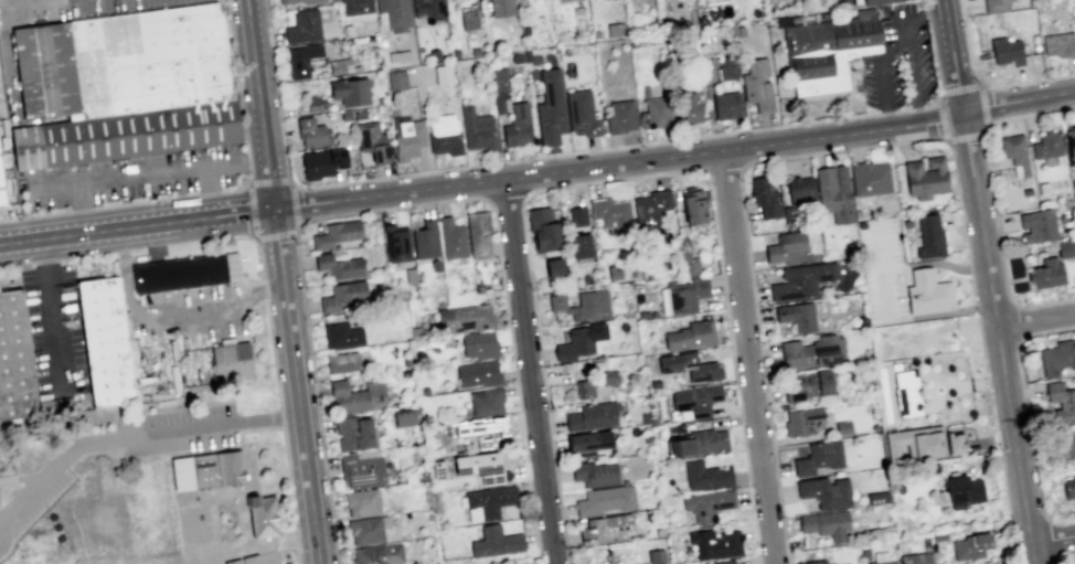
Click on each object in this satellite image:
building: (286, 1)
building: (310, 1)
building: (874, 1)
parking lot: (125, 6)
building: (994, 6)
building: (355, 7)
building: (501, 7)
building: (429, 10)
building: (394, 13)
building: (469, 19)
building: (302, 26)
road: (7, 41)
building: (1058, 44)
building: (828, 50)
building: (1005, 51)
road: (895, 52)
road: (912, 53)
building: (398, 56)
road: (955, 56)
building: (302, 58)
building: (157, 60)
parking lot: (901, 62)
building: (726, 68)
building: (43, 71)
building: (443, 74)
building: (396, 79)
building: (757, 84)
road: (980, 85)
road: (983, 86)
building: (499, 89)
building: (349, 91)
road: (885, 96)
building: (690, 97)
road: (264, 104)
building: (315, 104)
building: (726, 105)
road: (1019, 105)
building: (550, 108)
building: (656, 111)
building: (581, 113)
building: (620, 117)
building: (517, 125)
building: (477, 129)
building: (310, 132)
building: (2, 135)
building: (444, 135)
building: (127, 137)
building: (406, 137)
road: (946, 138)
building: (372, 140)
building: (1046, 145)
building: (1071, 145)
road: (858, 147)
road: (736, 148)
road: (575, 153)
building: (1015, 153)
building: (321, 161)
road: (722, 170)
road: (152, 171)
road: (625, 177)
building: (869, 178)
building: (925, 178)
parking lot: (136, 182)
road: (270, 182)
building: (9, 185)
building: (1042, 188)
road: (210, 190)
building: (799, 190)
building: (1025, 191)
building: (1, 193)
building: (833, 193)
road: (217, 194)
road: (393, 194)
building: (765, 196)
road: (507, 198)
road: (992, 200)
building: (1, 204)
road: (294, 204)
road: (405, 206)
building: (693, 206)
building: (650, 210)
road: (253, 211)
building: (613, 214)
building: (787, 214)
building: (577, 215)
road: (138, 225)
building: (1036, 225)
building: (542, 228)
building: (338, 234)
building: (478, 234)
road: (276, 235)
building: (929, 237)
building: (451, 238)
building: (425, 240)
building: (396, 243)
building: (579, 245)
building: (786, 247)
building: (1065, 247)
building: (689, 262)
building: (435, 265)
building: (338, 266)
building: (553, 268)
building: (187, 273)
building: (1046, 273)
parking lot: (887, 274)
building: (801, 280)
building: (1074, 280)
building: (928, 294)
building: (342, 295)
building: (685, 295)
building: (583, 305)
road: (269, 313)
building: (796, 316)
road: (53, 317)
building: (465, 318)
road: (1035, 321)
road: (997, 329)
parking lot: (54, 332)
building: (341, 334)
building: (690, 336)
building: (579, 341)
street lamp: (1019, 341)
building: (105, 343)
building: (479, 344)
building: (809, 352)
building: (688, 357)
road: (749, 357)
building: (1057, 357)
building: (653, 359)
building: (14, 360)
building: (342, 362)
building: (232, 363)
road: (532, 371)
building: (478, 372)
building: (703, 372)
building: (609, 380)
building: (654, 383)
road: (301, 385)
building: (808, 385)
building: (424, 390)
building: (906, 393)
building: (356, 396)
building: (487, 401)
building: (693, 401)
building: (1061, 402)
building: (592, 416)
road: (283, 417)
building: (403, 417)
building: (800, 419)
building: (679, 427)
building: (843, 427)
building: (481, 429)
building: (353, 433)
road: (136, 435)
building: (588, 441)
building: (699, 443)
building: (914, 443)
building: (954, 443)
building: (1065, 450)
building: (818, 457)
building: (480, 467)
building: (437, 468)
building: (361, 470)
building: (207, 471)
parking lot: (53, 473)
building: (594, 473)
road: (24, 475)
building: (419, 475)
building: (704, 476)
building: (409, 478)
building: (1068, 486)
building: (962, 490)
building: (824, 491)
road: (292, 497)
building: (876, 497)
building: (605, 500)
building: (487, 501)
building: (361, 502)
building: (706, 504)
building: (406, 513)
building: (263, 518)
building: (826, 523)
building: (606, 529)
building: (365, 530)
building: (938, 535)
road: (1052, 540)
building: (494, 542)
building: (925, 542)
building: (714, 543)
building: (970, 545)
building: (377, 554)
road: (1032, 554)
building: (656, 555)
building: (864, 555)
building: (607, 558)
building: (914, 558)
building: (246, 561)
building: (724, 562)
building: (813, 562)
building: (882, 562)
building: (843, 563)
building: (847, 563)

